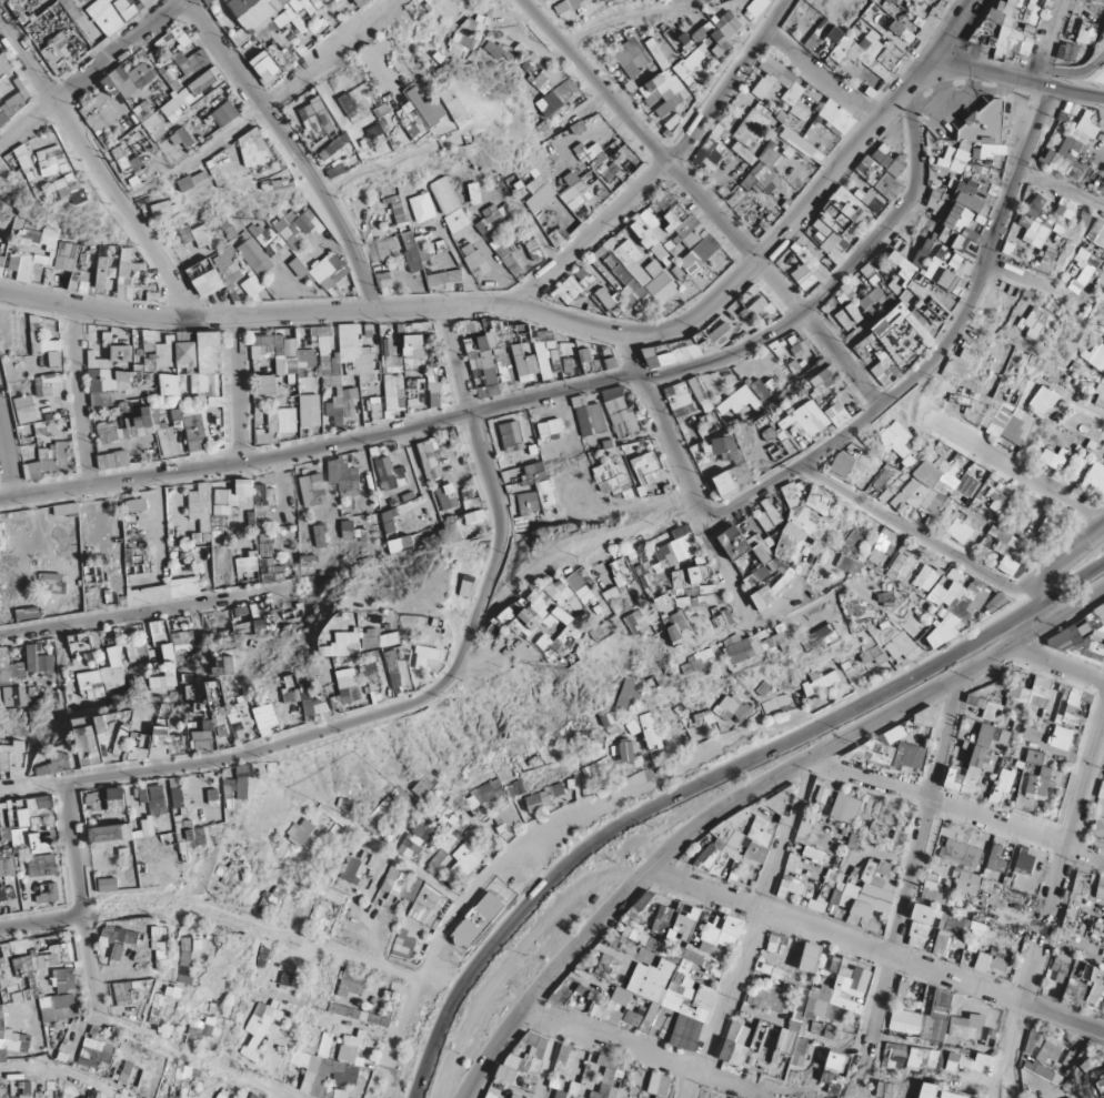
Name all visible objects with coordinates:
road: (118, 53)
road: (1076, 70)
road: (559, 315)
road: (1051, 570)
road: (712, 780)
road: (745, 796)

